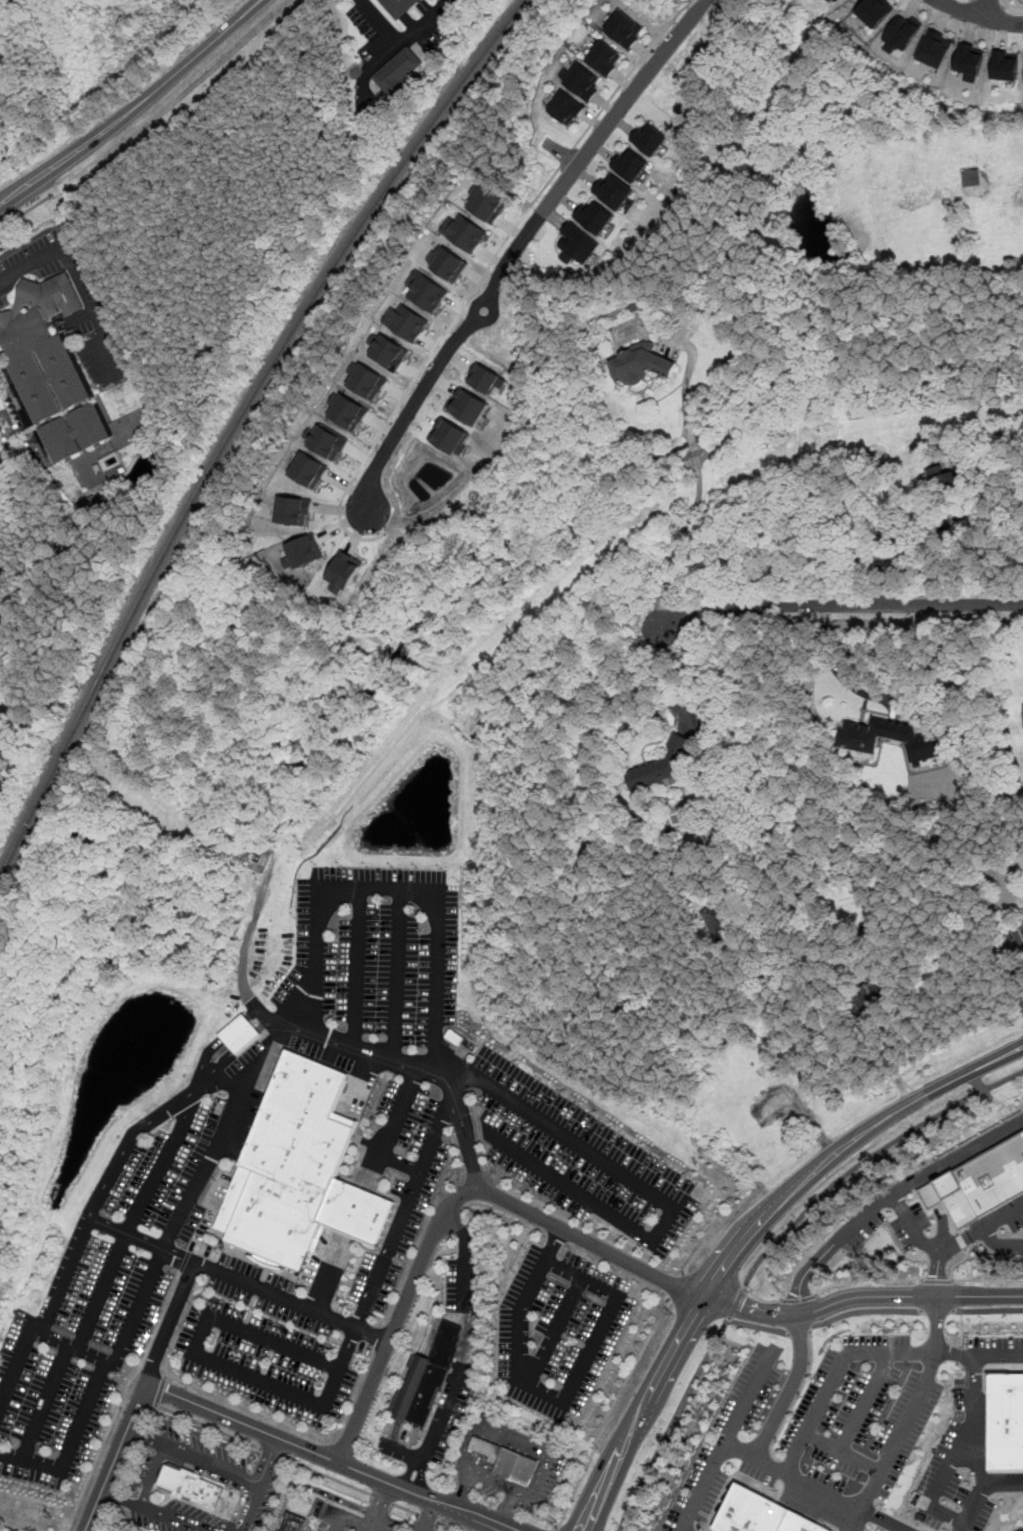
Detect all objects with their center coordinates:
road: (1006, 2)
road: (991, 3)
road: (1005, 5)
building: (398, 7)
road: (990, 8)
road: (1014, 9)
building: (875, 12)
road: (979, 14)
building: (623, 30)
building: (900, 35)
road: (398, 44)
building: (934, 47)
building: (605, 58)
building: (969, 60)
building: (1005, 65)
building: (398, 70)
road: (631, 71)
building: (583, 81)
building: (566, 107)
road: (136, 109)
building: (648, 138)
building: (631, 164)
road: (550, 177)
building: (971, 178)
building: (614, 191)
building: (486, 204)
road: (26, 210)
building: (595, 216)
building: (463, 231)
building: (577, 242)
road: (517, 247)
building: (447, 263)
road: (31, 265)
building: (426, 291)
building: (405, 321)
building: (386, 351)
building: (639, 364)
building: (51, 368)
building: (485, 378)
road: (685, 379)
building: (366, 380)
building: (468, 405)
building: (346, 411)
railway: (232, 422)
building: (450, 436)
road: (692, 440)
building: (325, 441)
building: (307, 470)
building: (944, 477)
building: (292, 509)
road: (893, 536)
road: (681, 539)
building: (302, 552)
building: (343, 570)
road: (838, 603)
road: (681, 661)
road: (872, 695)
building: (1022, 710)
building: (863, 733)
building: (861, 754)
building: (662, 766)
road: (401, 887)
building: (1022, 923)
road: (359, 965)
road: (398, 973)
building: (241, 1033)
road: (888, 1060)
building: (794, 1095)
road: (388, 1131)
road: (210, 1155)
road: (957, 1155)
road: (121, 1157)
road: (866, 1160)
road: (160, 1167)
building: (302, 1172)
building: (980, 1183)
road: (665, 1202)
road: (404, 1209)
road: (903, 1214)
road: (539, 1216)
road: (1003, 1218)
road: (716, 1228)
road: (348, 1235)
road: (747, 1235)
road: (961, 1240)
road: (552, 1241)
road: (999, 1245)
road: (554, 1262)
road: (956, 1263)
road: (806, 1271)
road: (939, 1271)
road: (65, 1277)
road: (988, 1279)
road: (938, 1280)
road: (866, 1281)
road: (676, 1288)
road: (101, 1293)
road: (910, 1296)
road: (760, 1298)
road: (797, 1299)
road: (735, 1302)
road: (864, 1310)
road: (986, 1310)
road: (136, 1311)
road: (752, 1311)
road: (936, 1311)
road: (397, 1317)
road: (936, 1324)
road: (758, 1326)
road: (556, 1329)
road: (800, 1331)
road: (961, 1332)
road: (31, 1333)
road: (465, 1351)
road: (978, 1356)
road: (210, 1358)
road: (164, 1372)
road: (836, 1375)
building: (426, 1379)
road: (788, 1389)
road: (159, 1391)
road: (121, 1397)
road: (143, 1399)
road: (867, 1401)
road: (43, 1402)
road: (611, 1410)
building: (1006, 1422)
road: (672, 1424)
road: (207, 1427)
road: (902, 1432)
road: (149, 1442)
road: (70, 1444)
road: (845, 1451)
road: (957, 1451)
road: (176, 1452)
road: (270, 1452)
road: (976, 1455)
road: (330, 1457)
building: (507, 1460)
road: (767, 1464)
road: (267, 1465)
road: (326, 1475)
road: (227, 1482)
building: (187, 1486)
road: (702, 1488)
road: (979, 1488)
road: (312, 1489)
road: (382, 1499)
road: (122, 1501)
road: (406, 1509)
road: (425, 1514)
building: (761, 1514)
road: (428, 1517)
road: (857, 1520)
building: (294, 1522)
road: (371, 1523)
road: (377, 1525)
road: (449, 1526)
road: (204, 1528)
road: (496, 1528)
road: (555, 1529)

